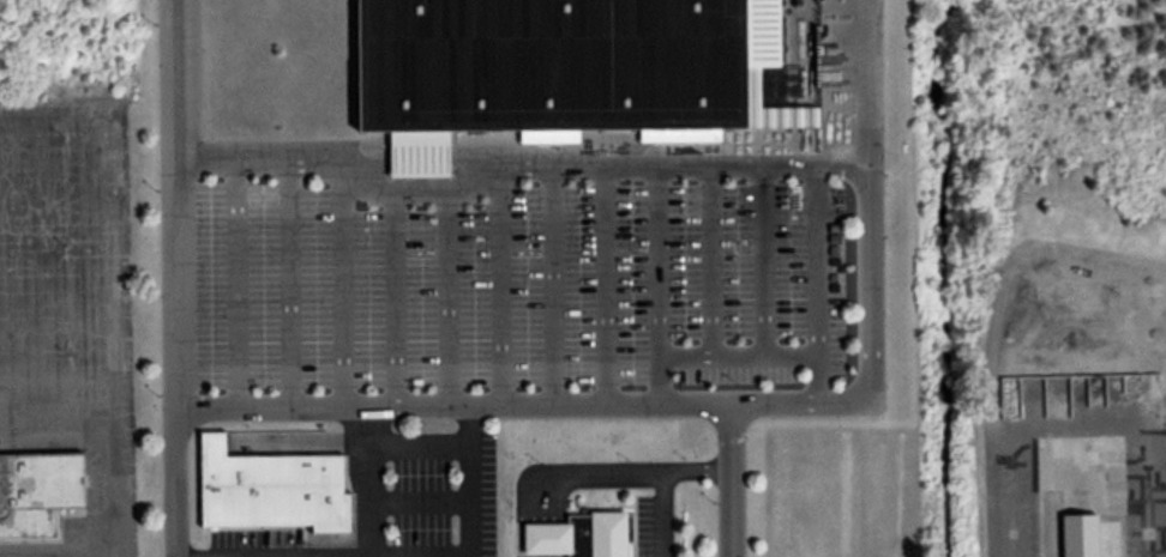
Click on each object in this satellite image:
building: (569, 71)
road: (519, 167)
road: (180, 205)
road: (871, 265)
road: (238, 283)
road: (553, 285)
building: (1148, 393)
road: (455, 404)
road: (420, 447)
road: (368, 480)
road: (471, 480)
road: (178, 483)
road: (733, 483)
building: (272, 488)
road: (667, 489)
building: (40, 492)
road: (420, 500)
building: (1081, 534)
building: (584, 535)
road: (396, 555)

